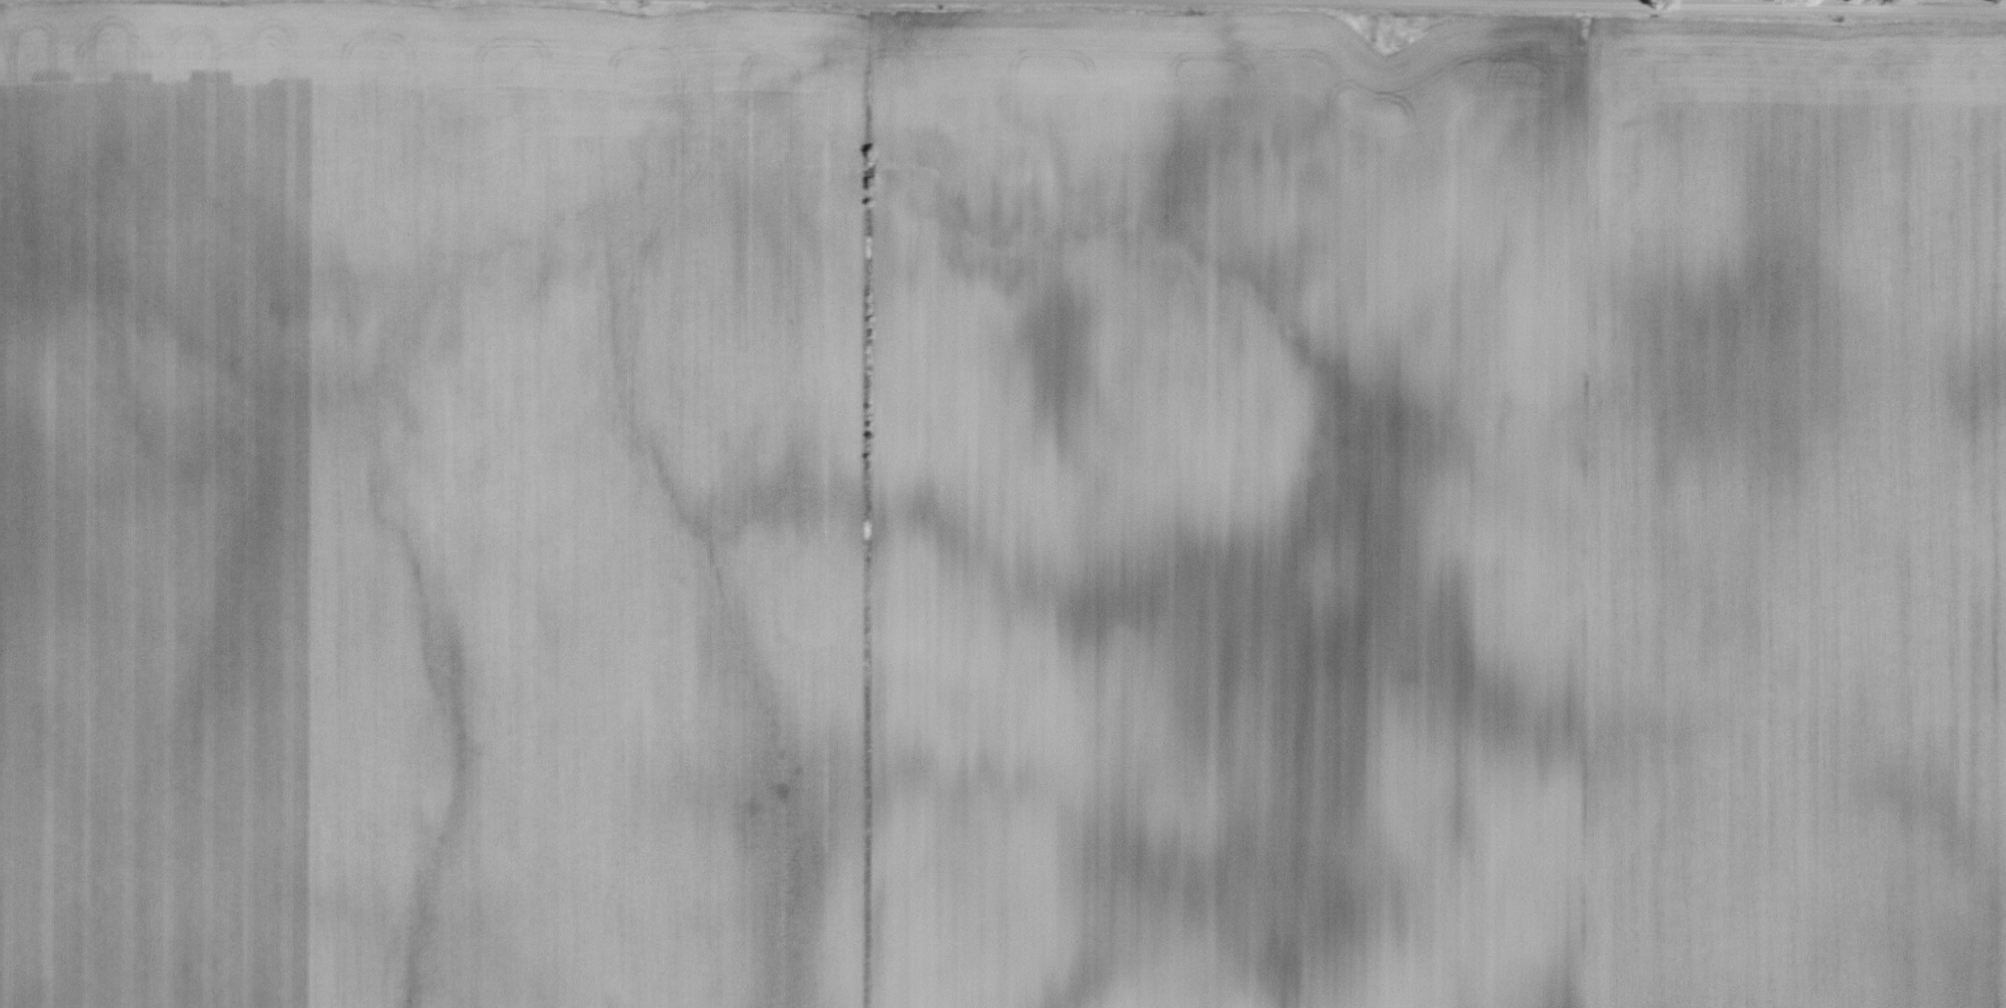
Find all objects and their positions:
road: (1348, 1)
road: (1635, 2)
road: (1587, 4)

